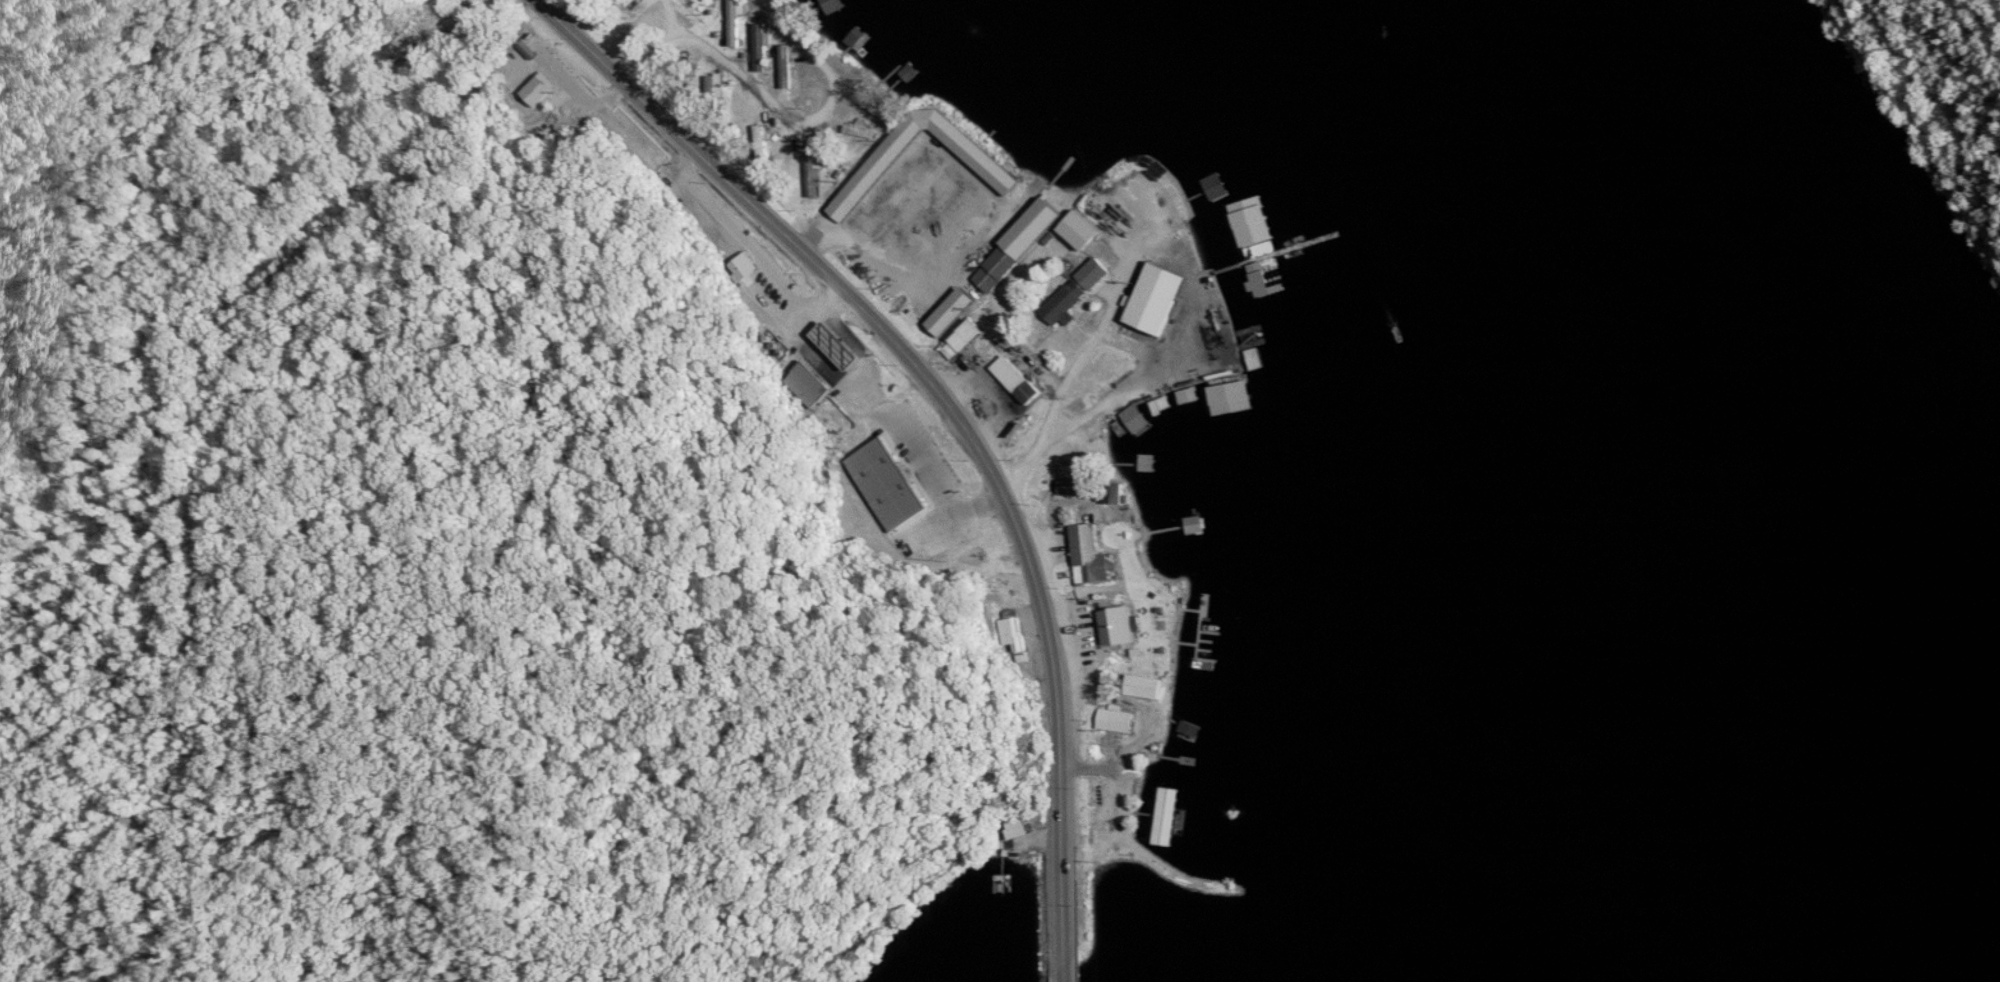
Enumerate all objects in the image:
building: (711, 11)
building: (736, 23)
building: (841, 35)
building: (397, 47)
building: (718, 85)
building: (538, 89)
building: (868, 92)
building: (766, 139)
building: (813, 182)
building: (904, 182)
building: (969, 210)
building: (1040, 226)
building: (1080, 229)
building: (999, 268)
building: (1095, 272)
building: (1237, 294)
building: (1158, 298)
building: (950, 320)
building: (969, 335)
river: (1745, 342)
building: (839, 345)
building: (1020, 381)
building: (809, 384)
road: (950, 408)
building: (880, 481)
building: (1080, 487)
building: (1115, 494)
building: (1095, 555)
building: (1122, 626)
building: (1013, 630)
building: (1146, 686)
building: (1118, 720)
building: (1194, 724)
building: (1168, 809)
road: (1067, 971)

